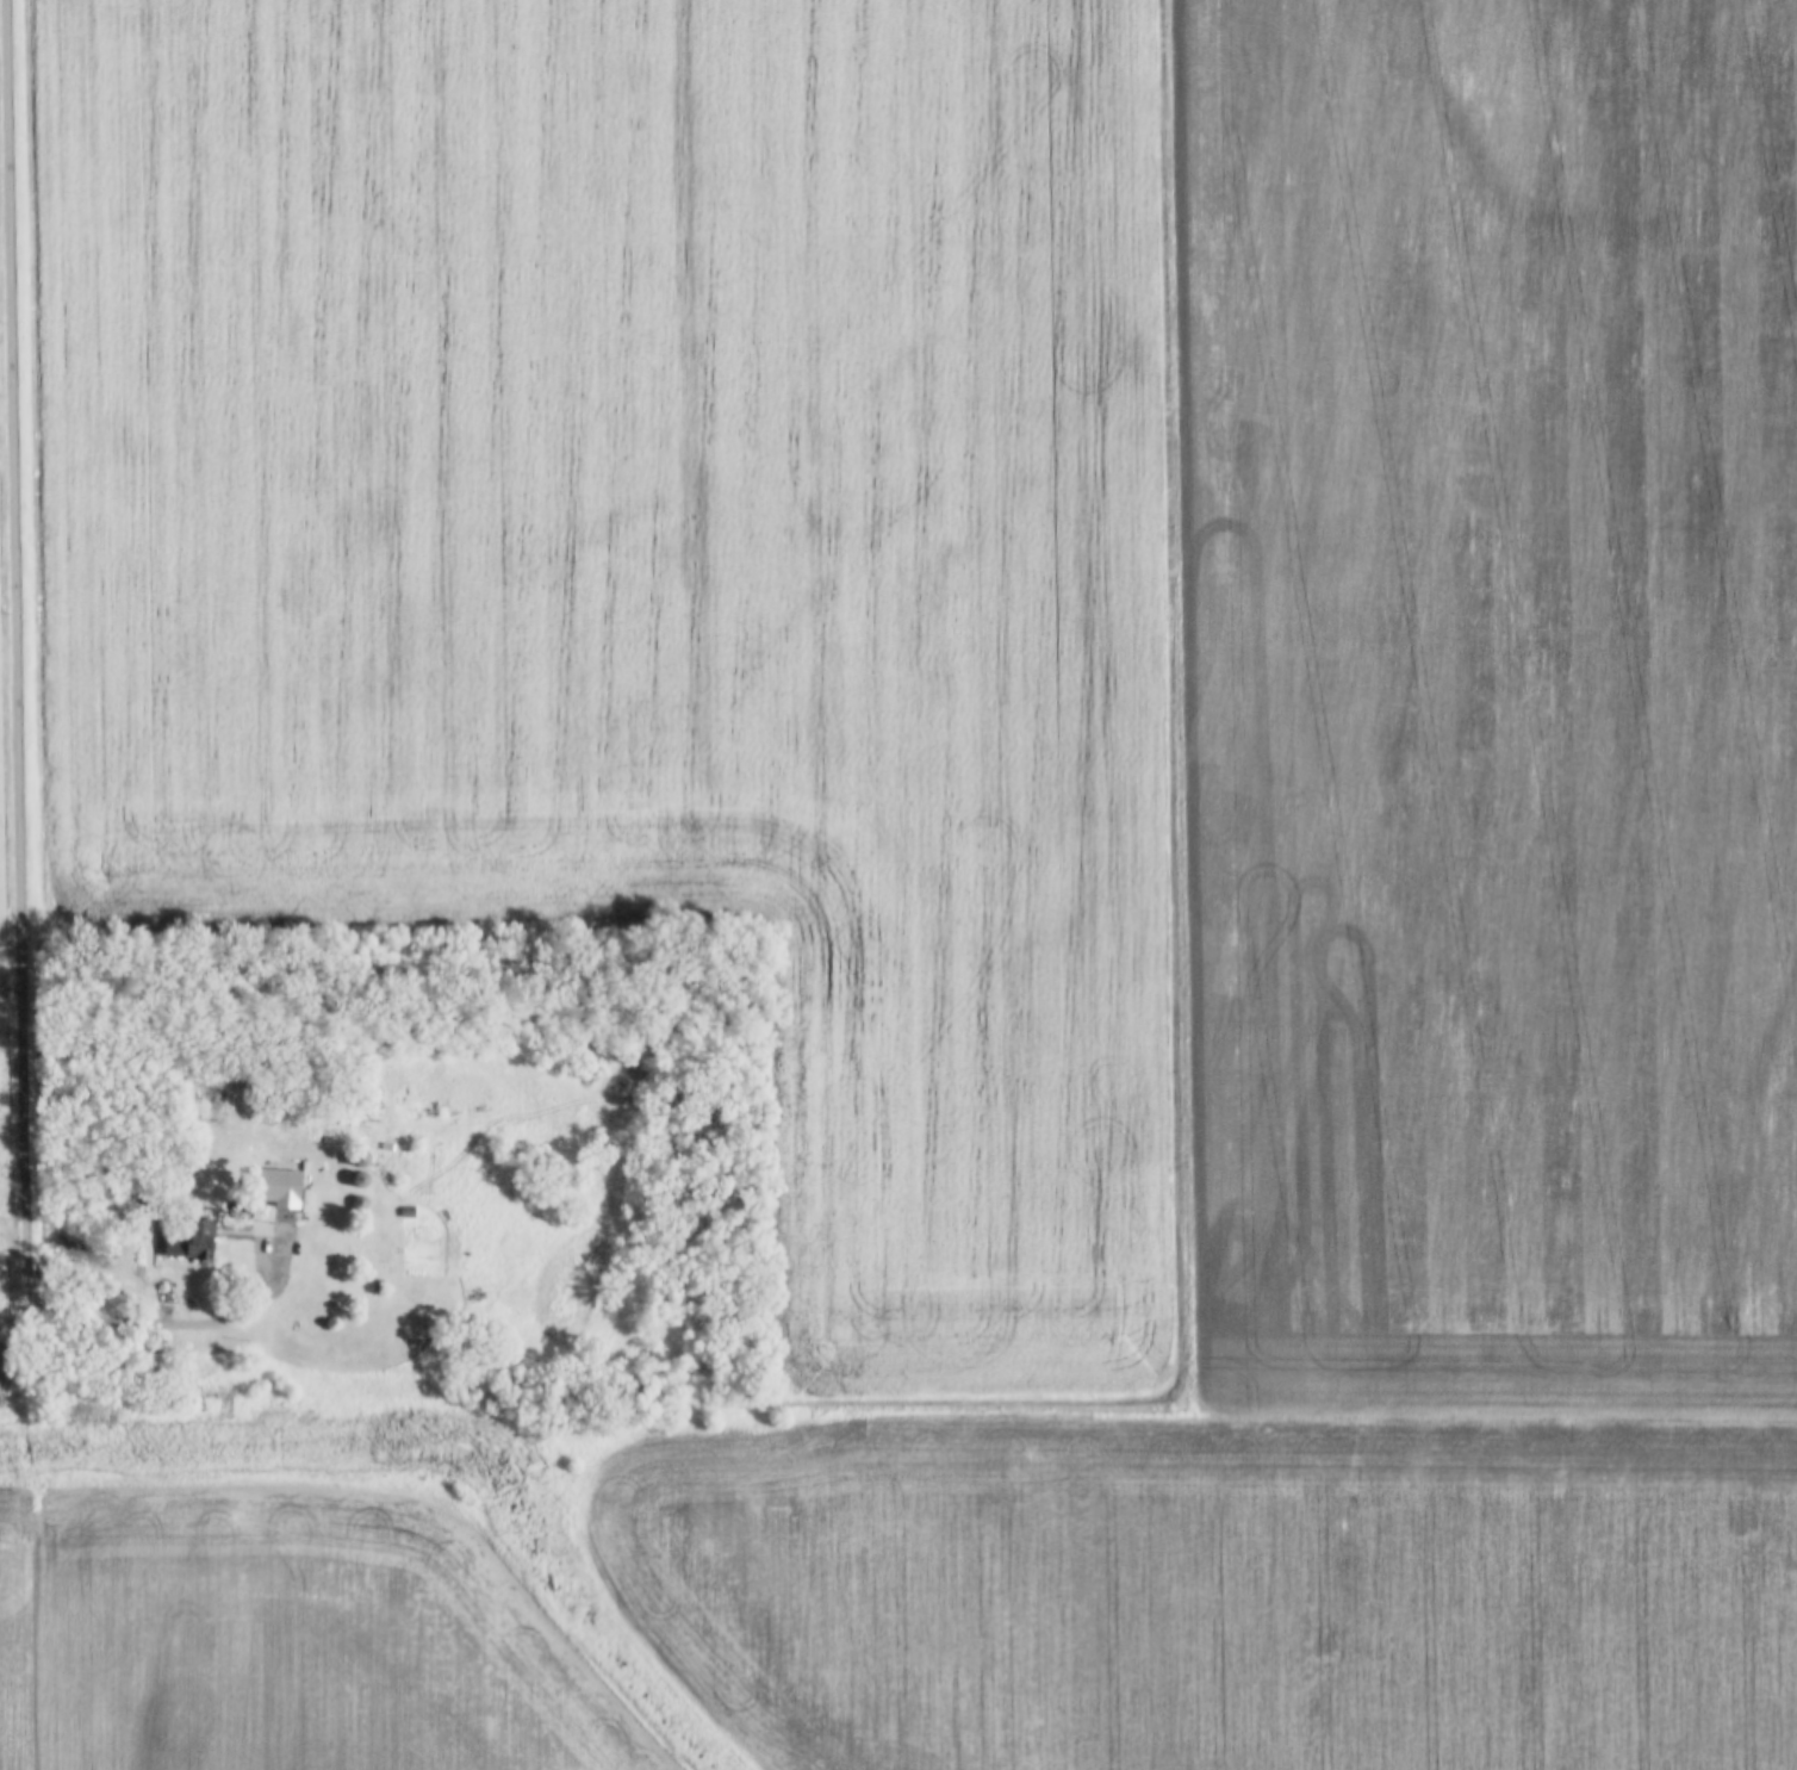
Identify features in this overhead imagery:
road: (19, 813)

